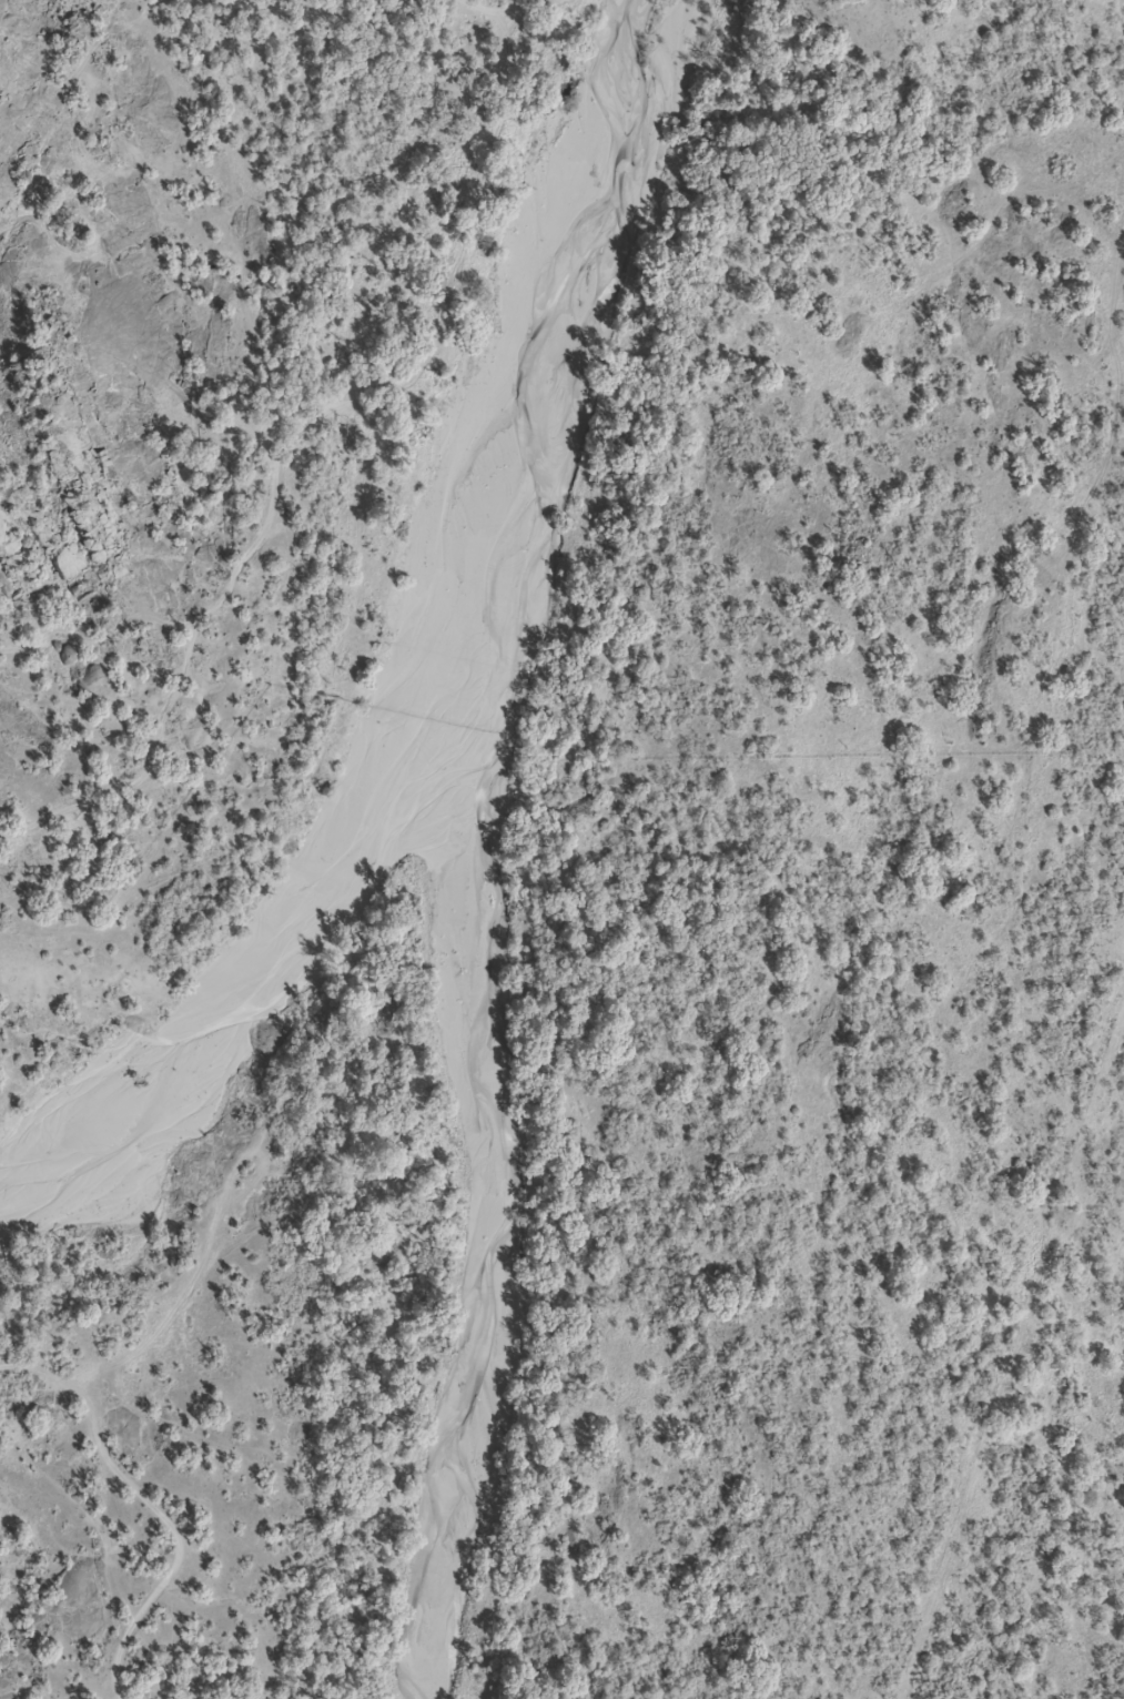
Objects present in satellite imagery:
river: (449, 839)

